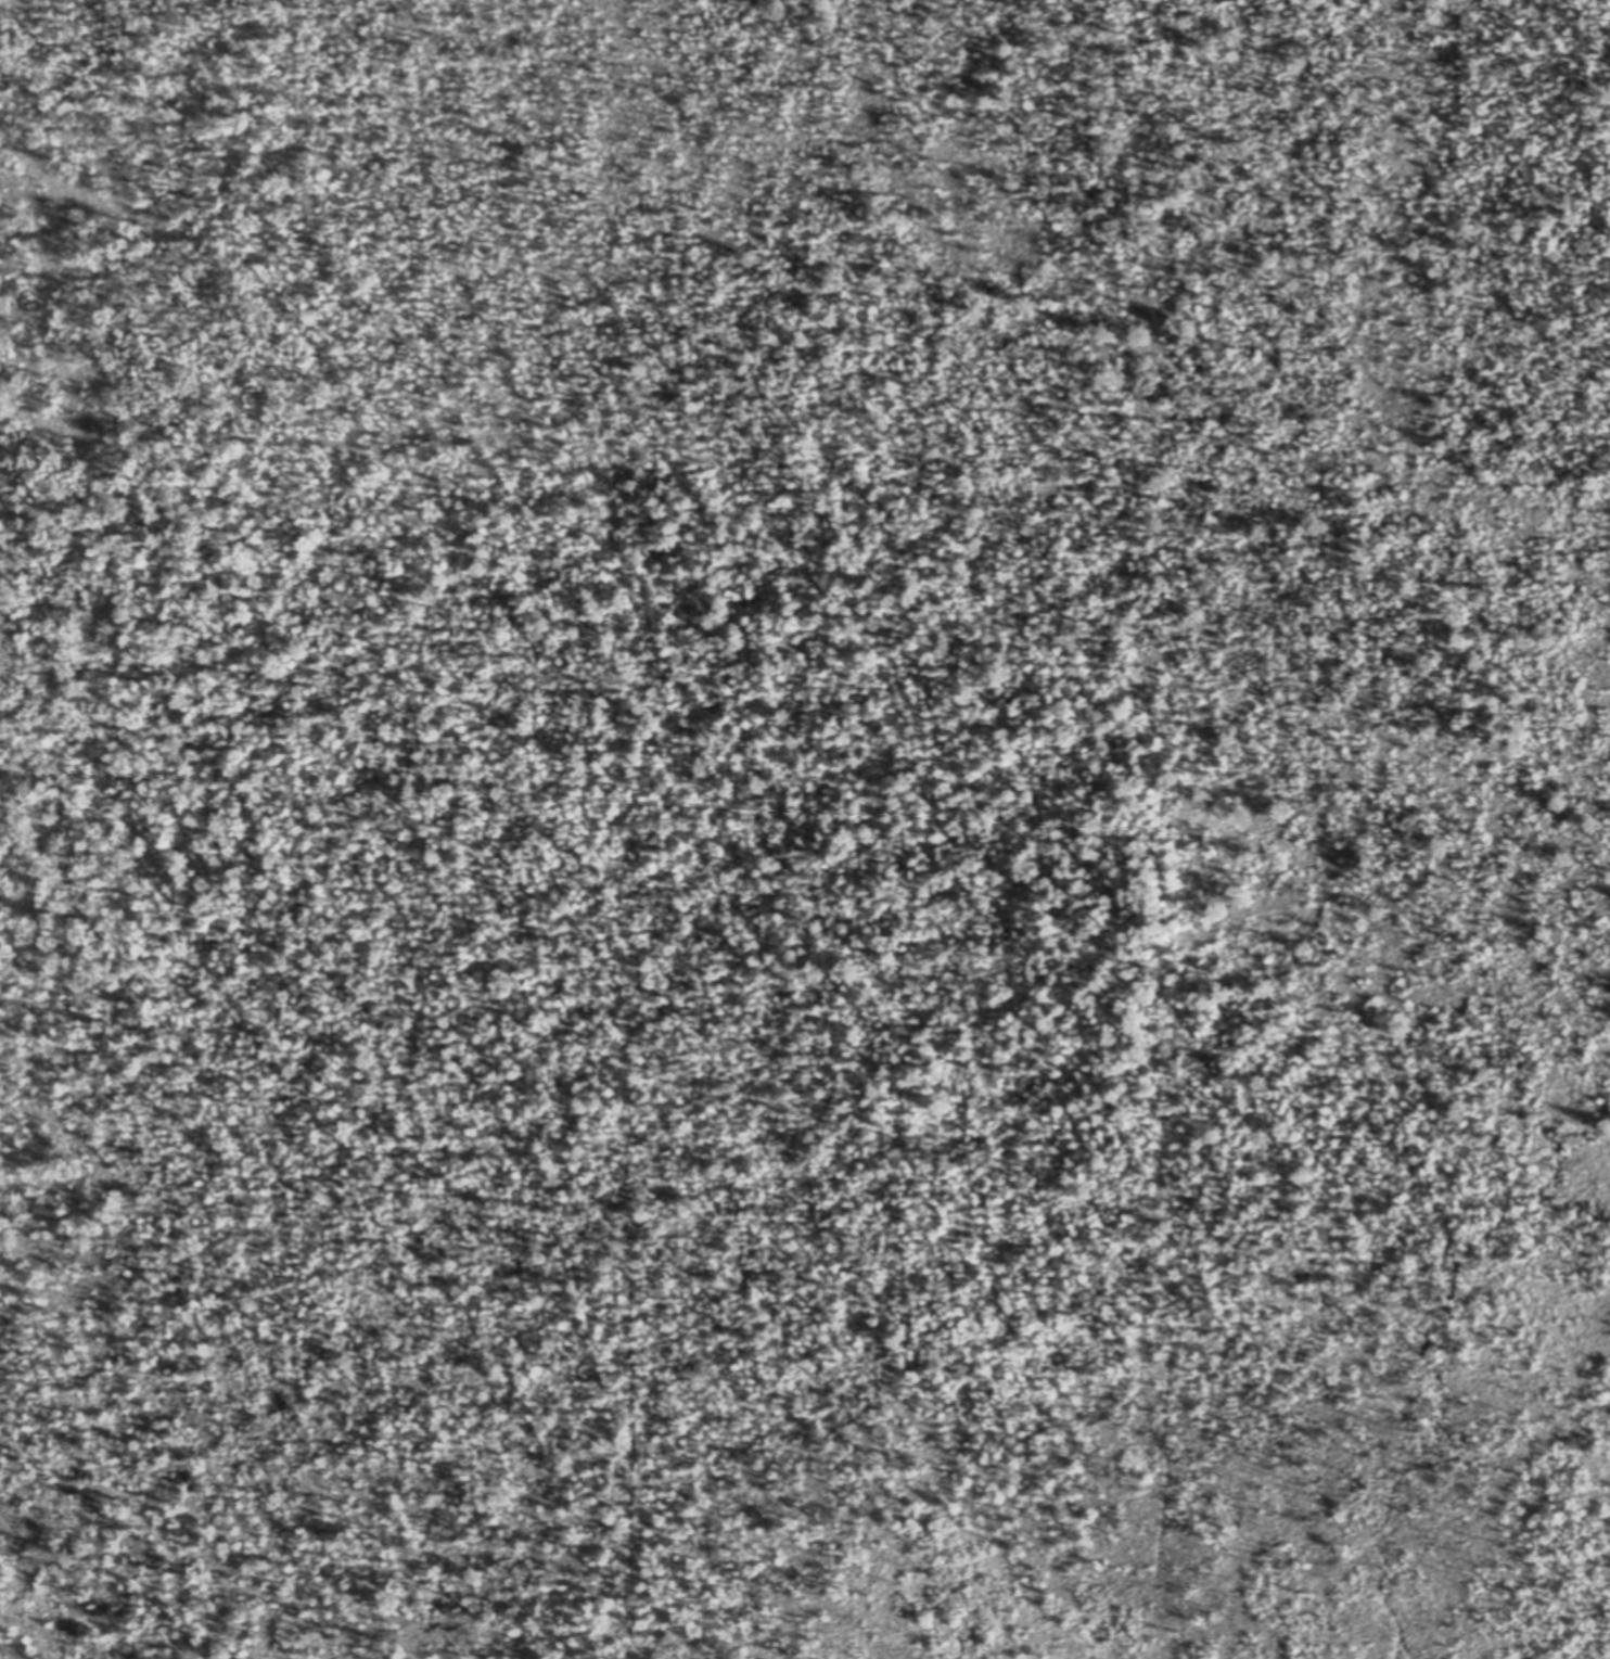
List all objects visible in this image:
building: (621, 589)

